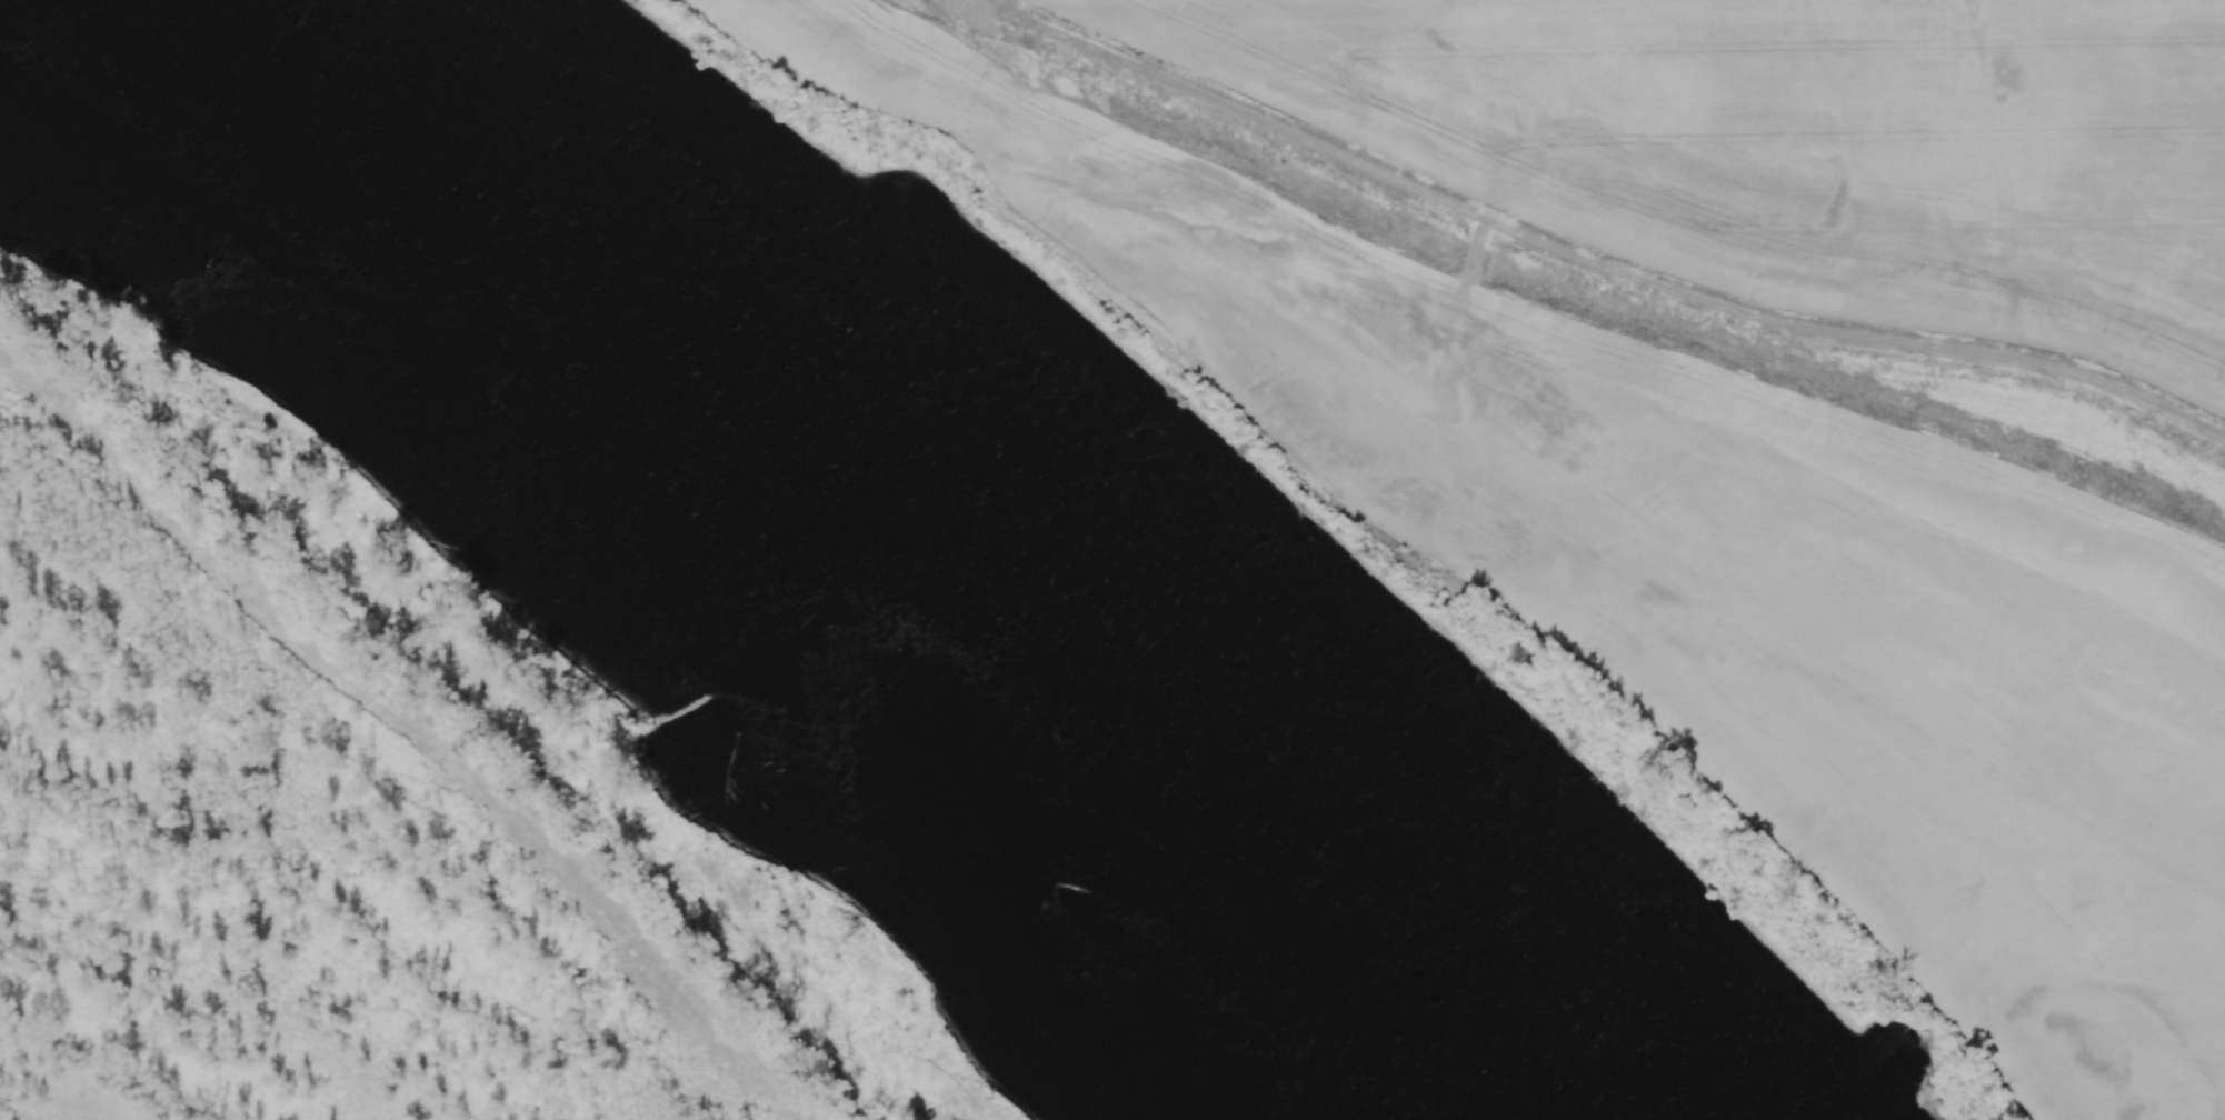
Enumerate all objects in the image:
river: (915, 539)
road: (408, 729)

